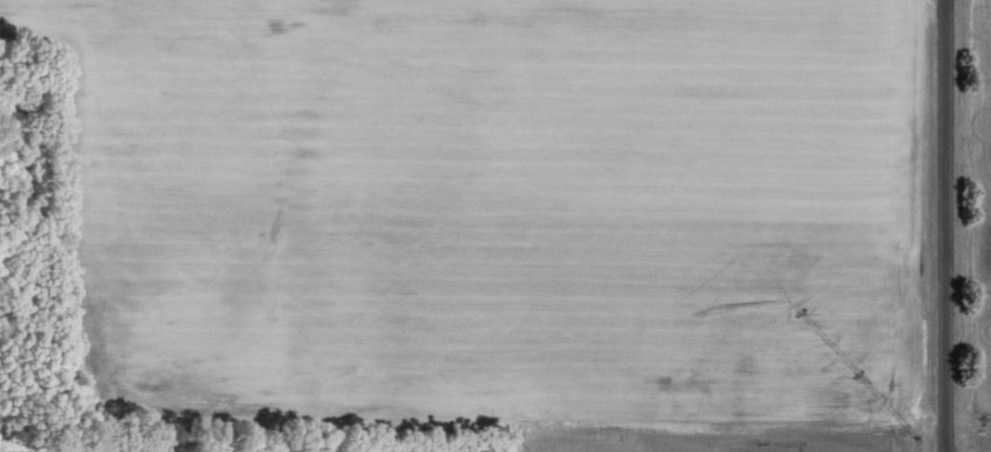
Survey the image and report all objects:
crop: (979, 211)
road: (945, 226)
building: (295, 451)

